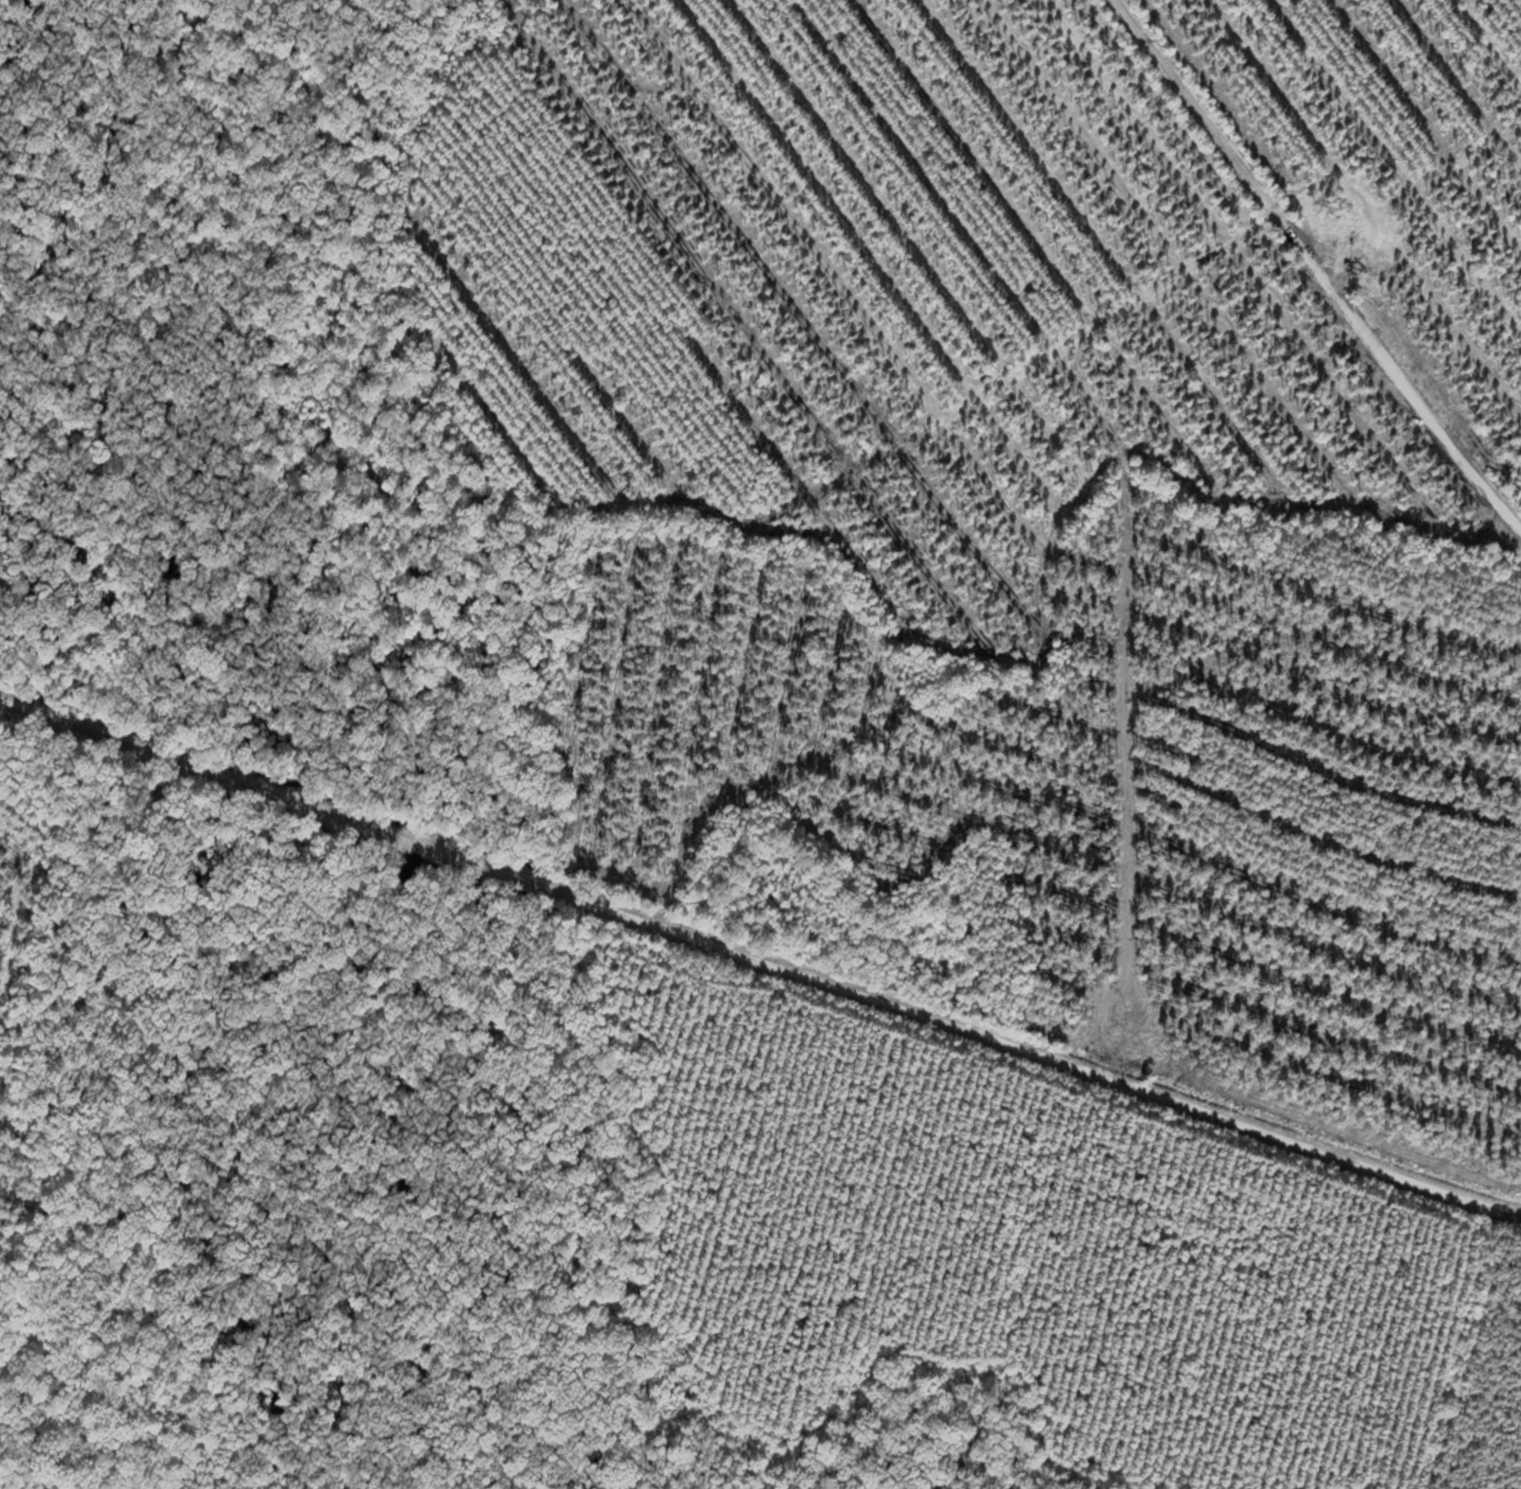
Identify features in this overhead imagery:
road: (760, 962)

